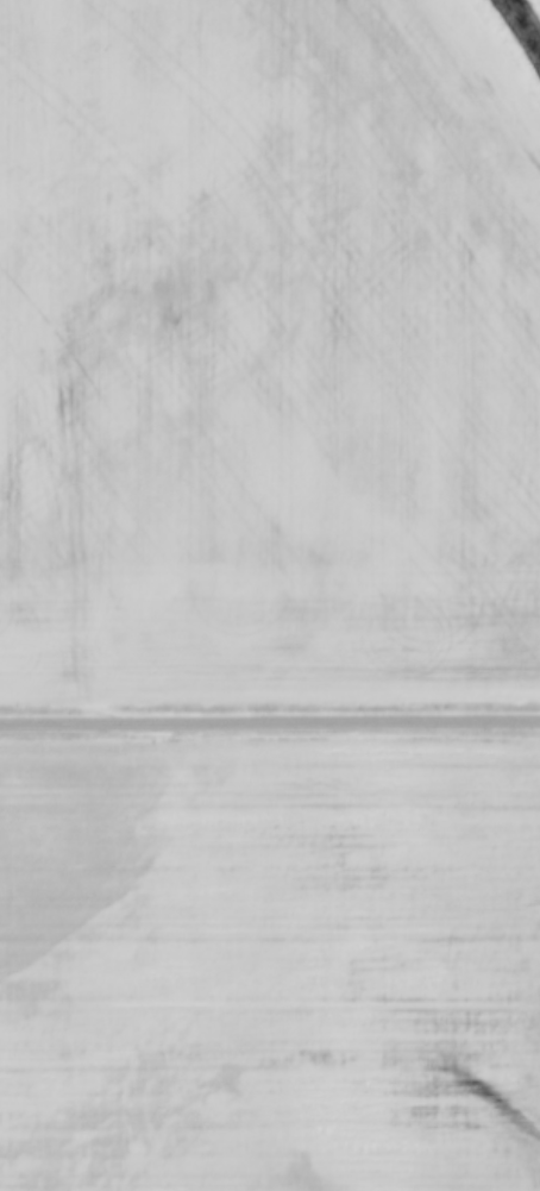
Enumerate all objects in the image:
road: (270, 717)

